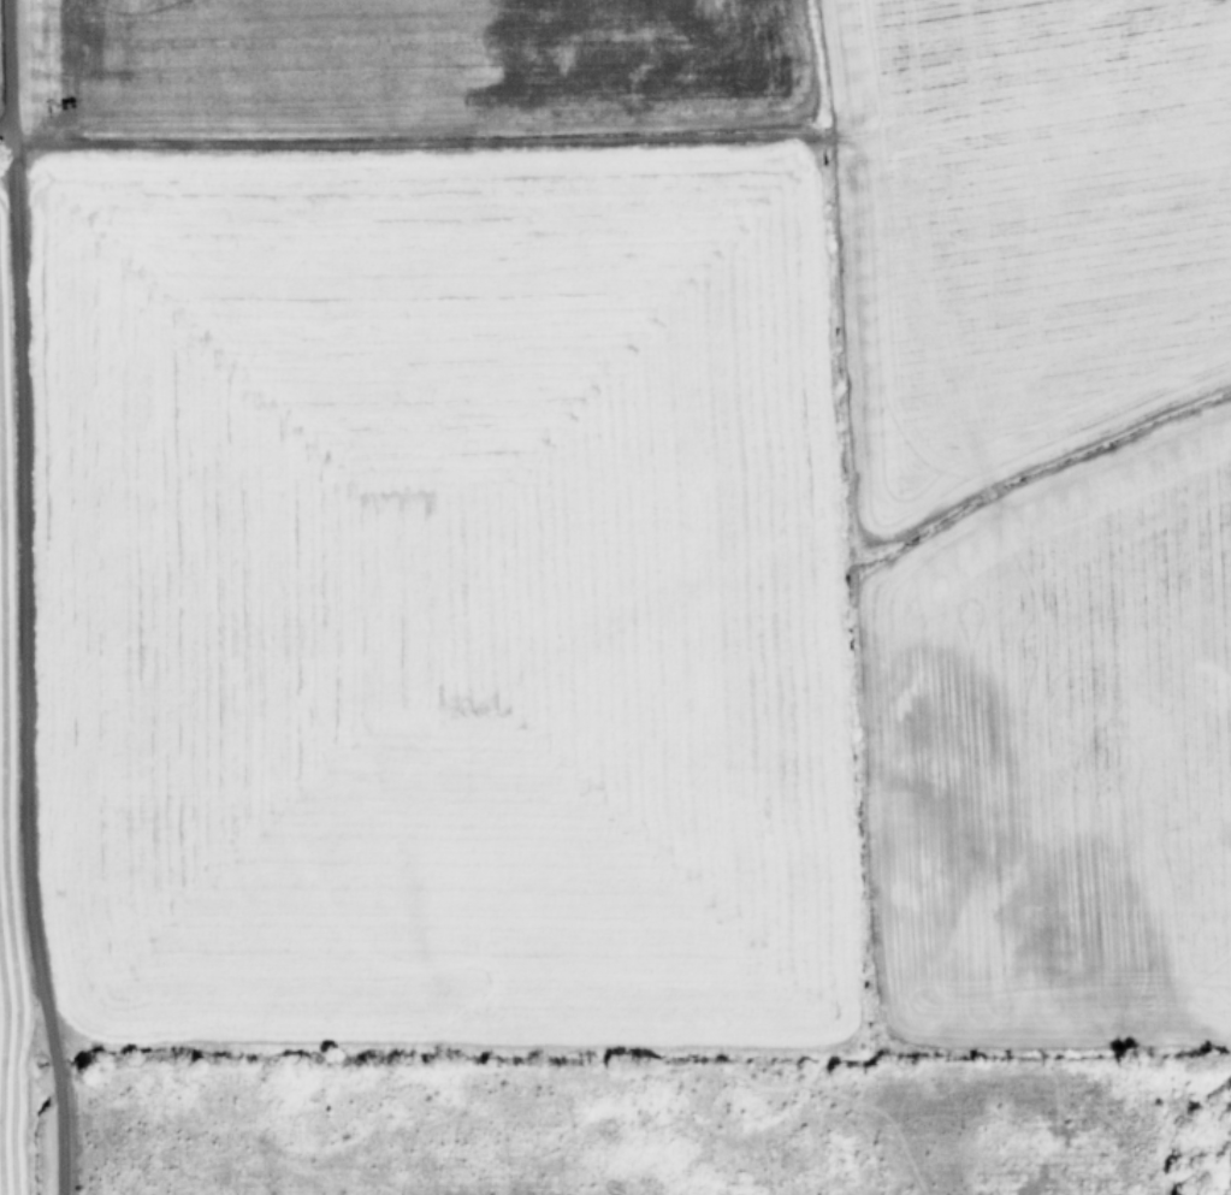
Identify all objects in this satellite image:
road: (8, 78)
crop: (615, 597)
road: (25, 673)

